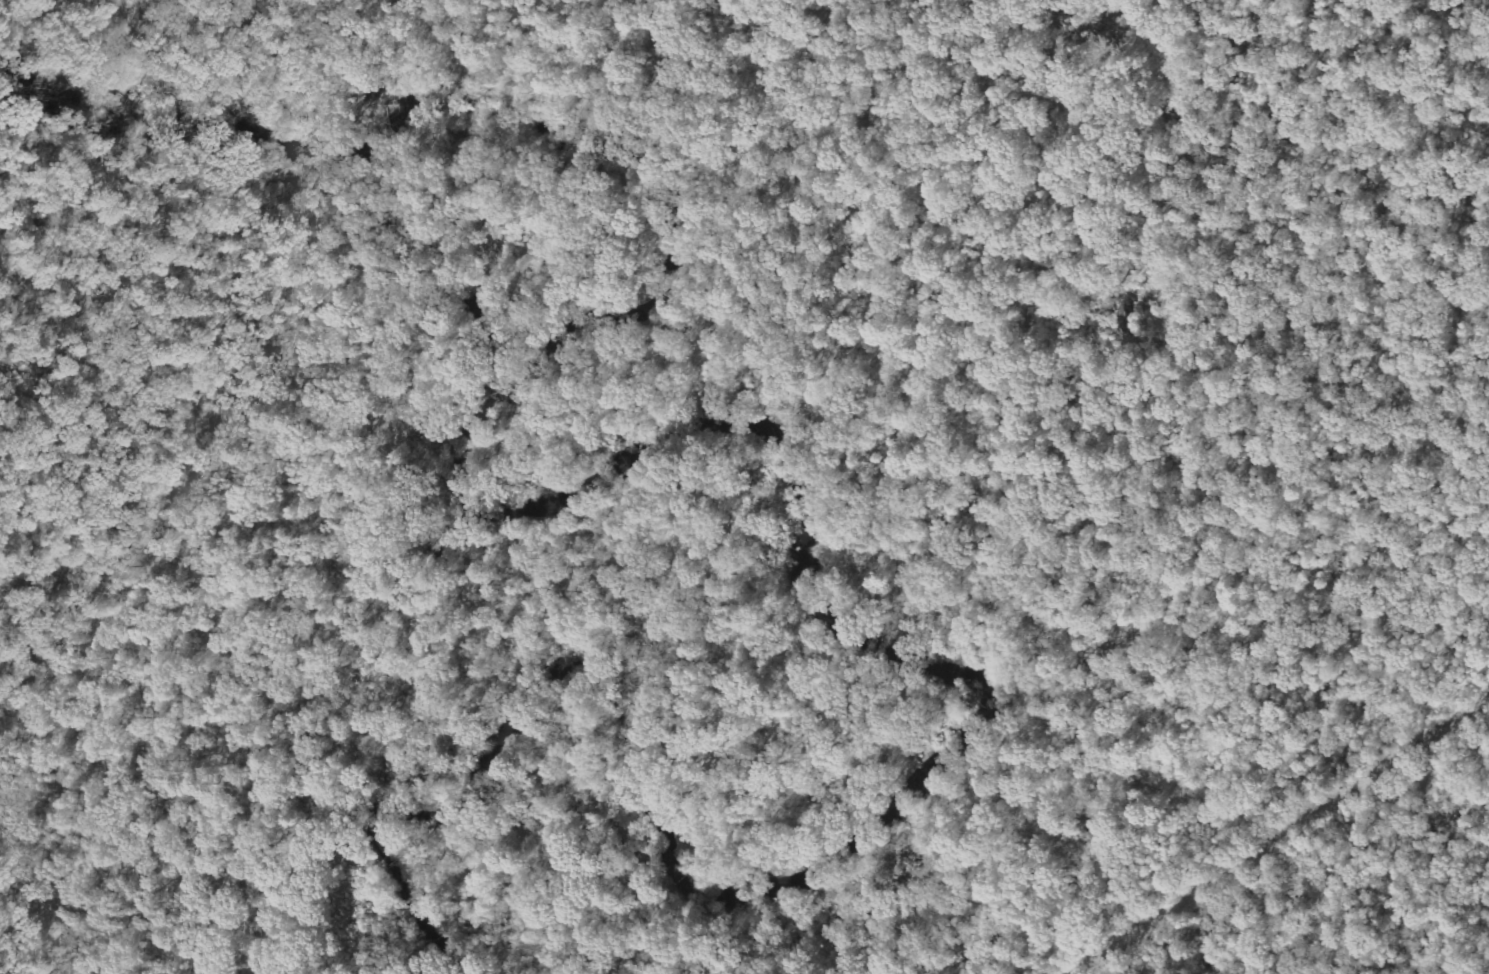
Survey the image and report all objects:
river: (754, 463)

